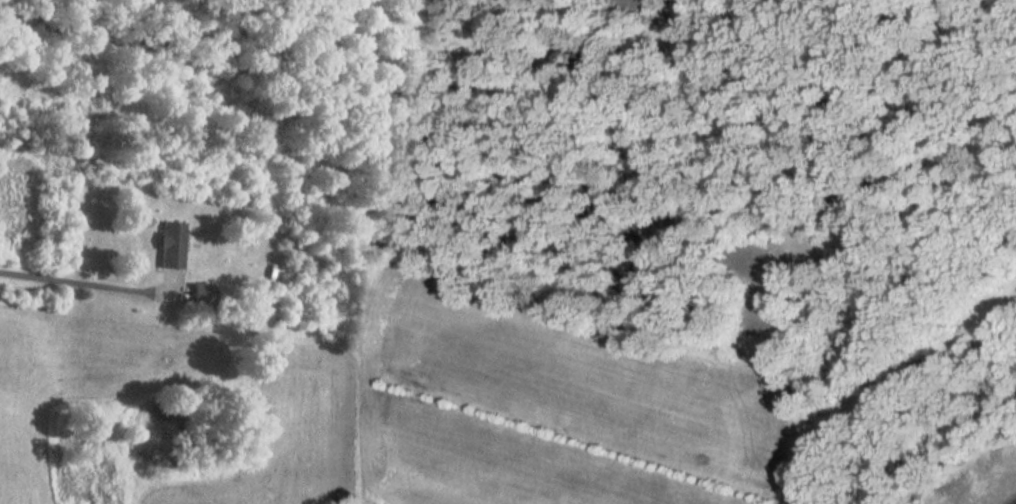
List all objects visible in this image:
road: (675, 36)
building: (168, 244)
road: (92, 286)
building: (200, 291)

